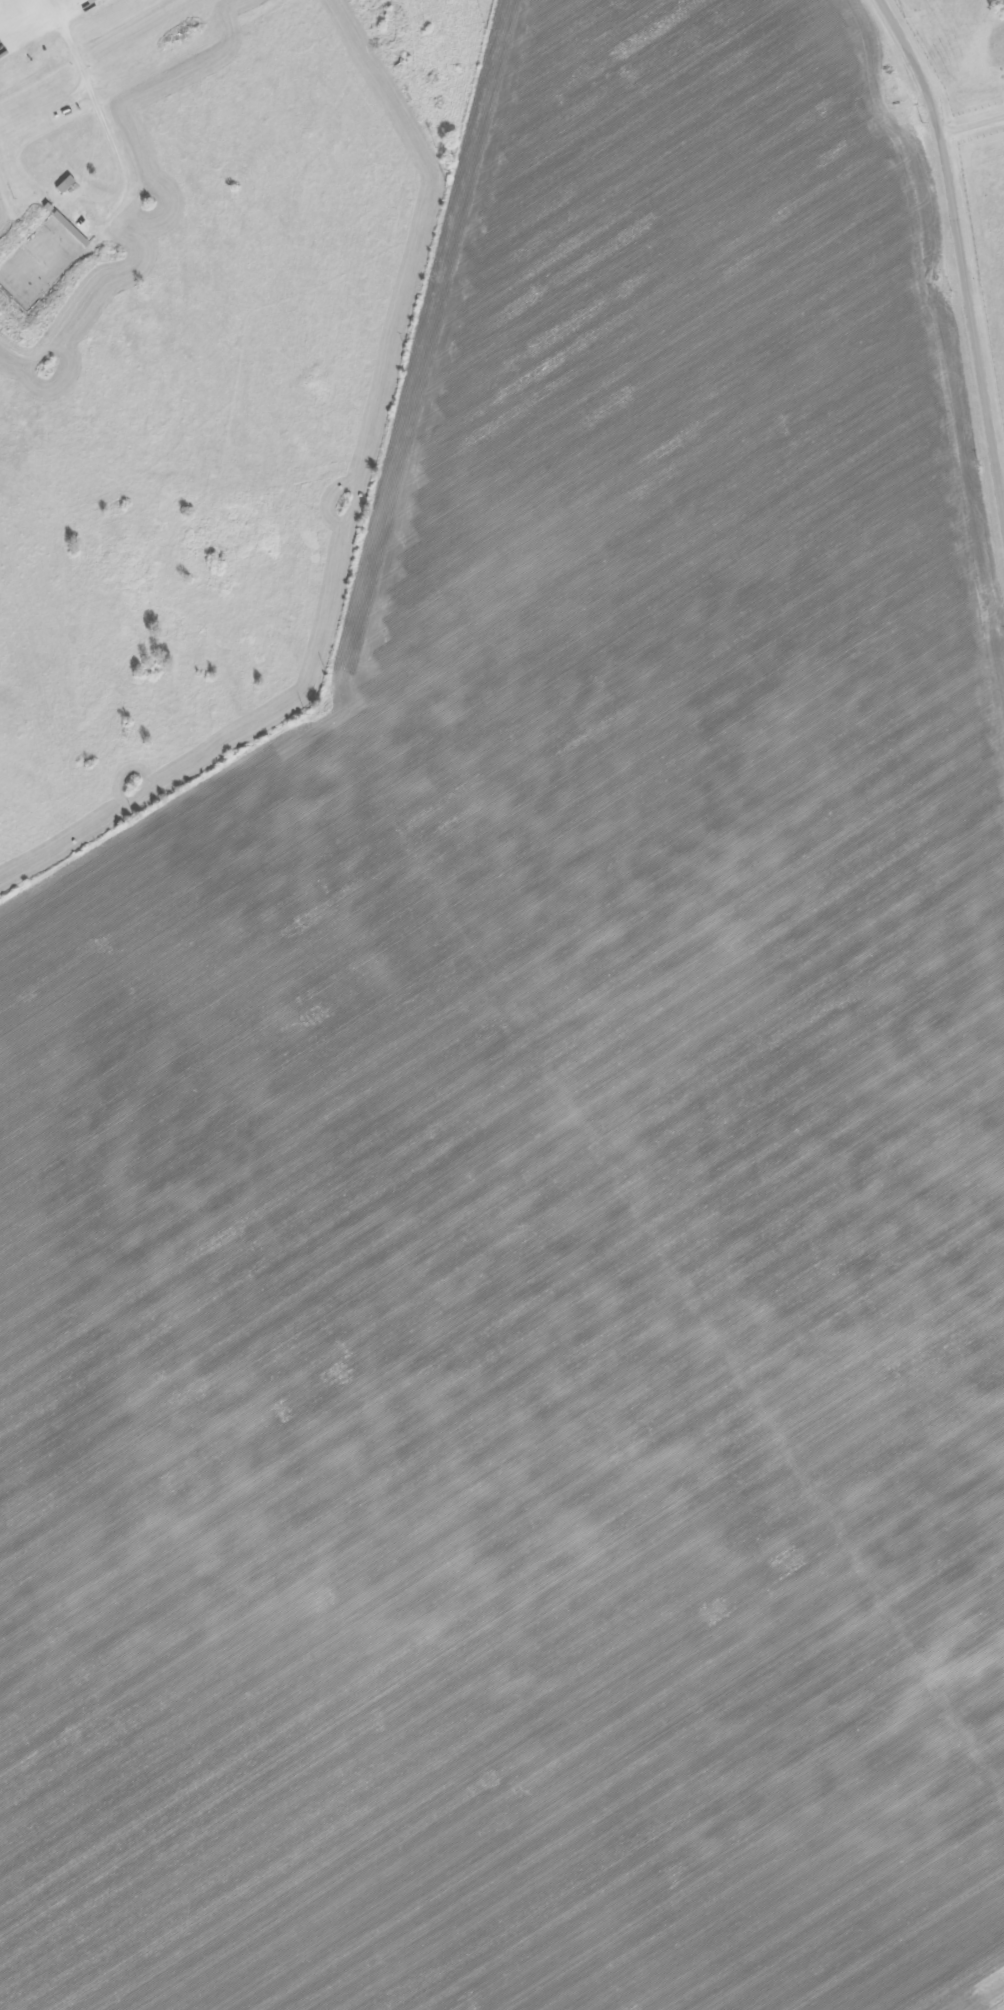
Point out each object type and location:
building: (91, 1)
road: (961, 243)

